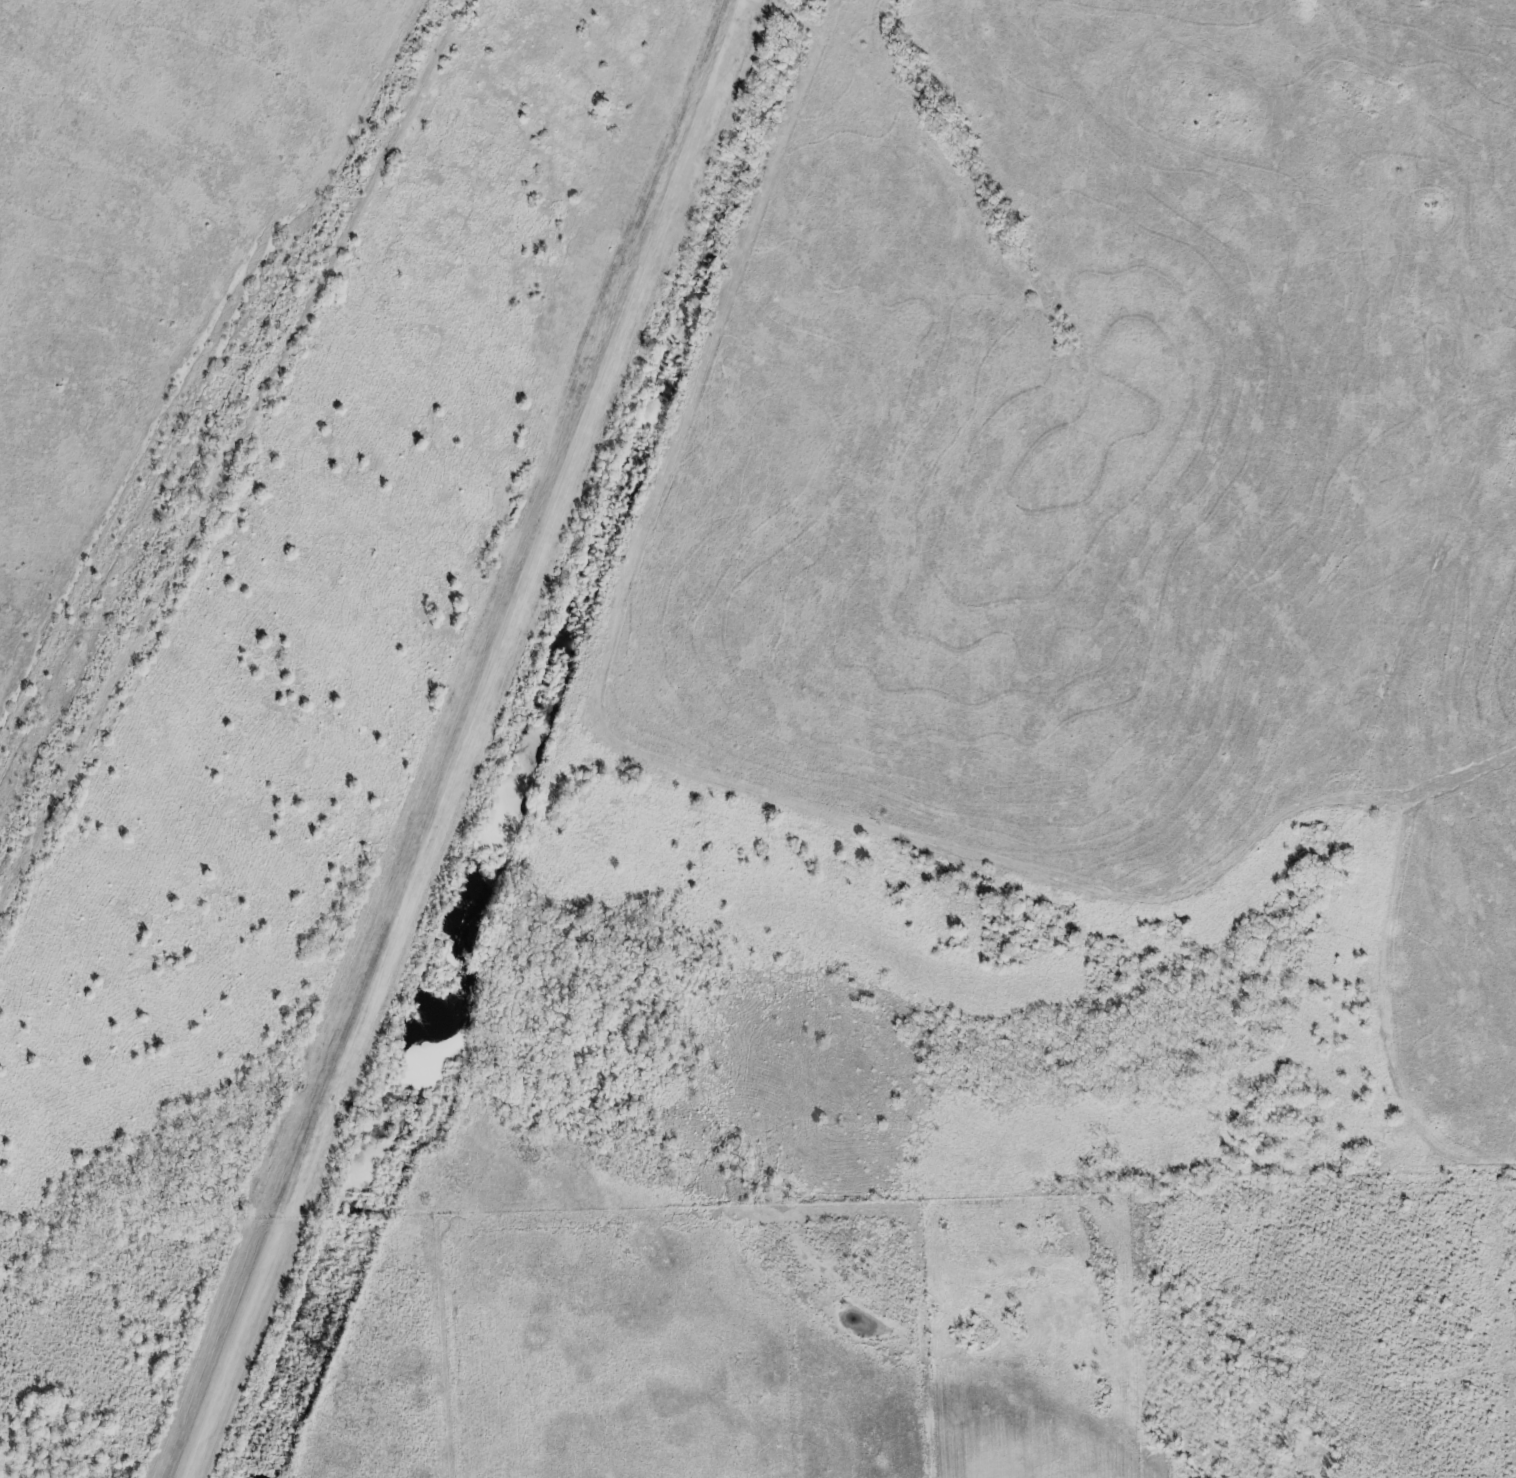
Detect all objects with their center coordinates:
railway: (237, 459)

